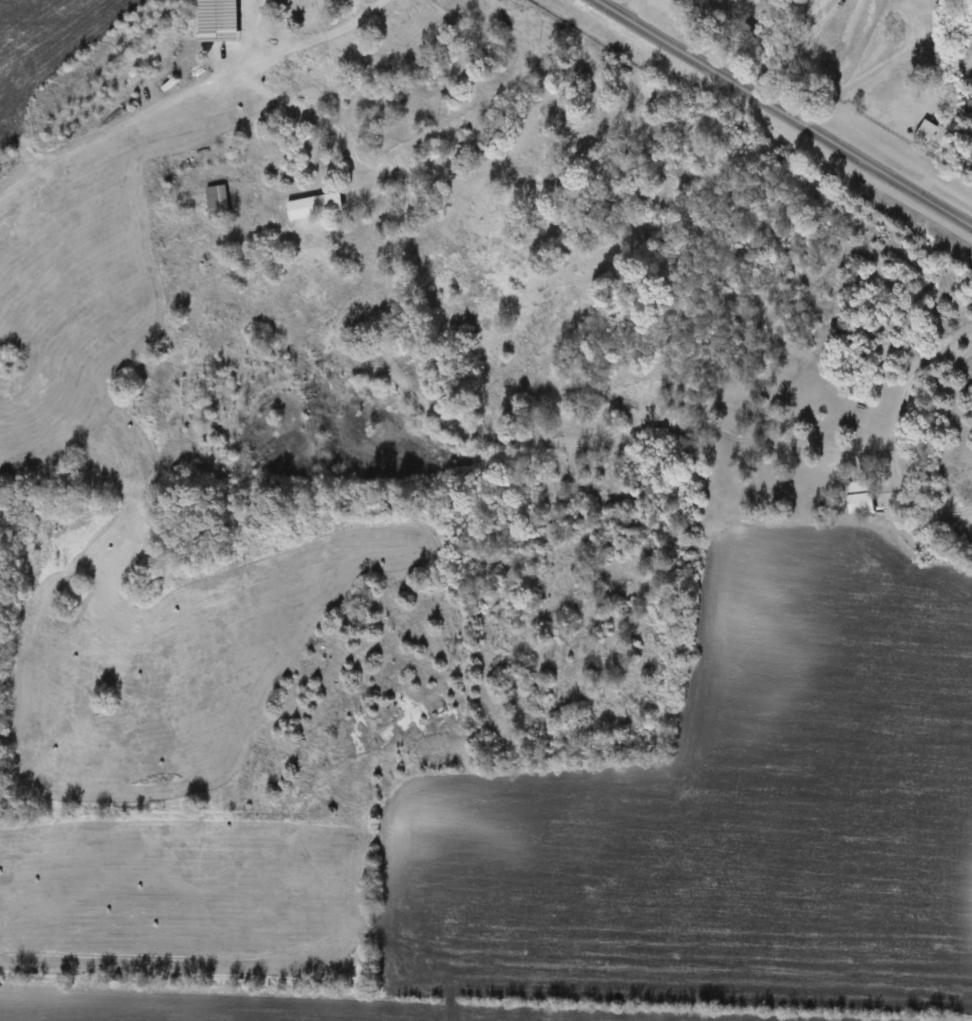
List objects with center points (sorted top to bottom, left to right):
road: (632, 7)
building: (220, 25)
road: (255, 29)
road: (334, 92)
building: (969, 107)
road: (787, 111)
building: (219, 202)
building: (317, 207)
building: (7, 356)
road: (904, 396)
building: (863, 497)

